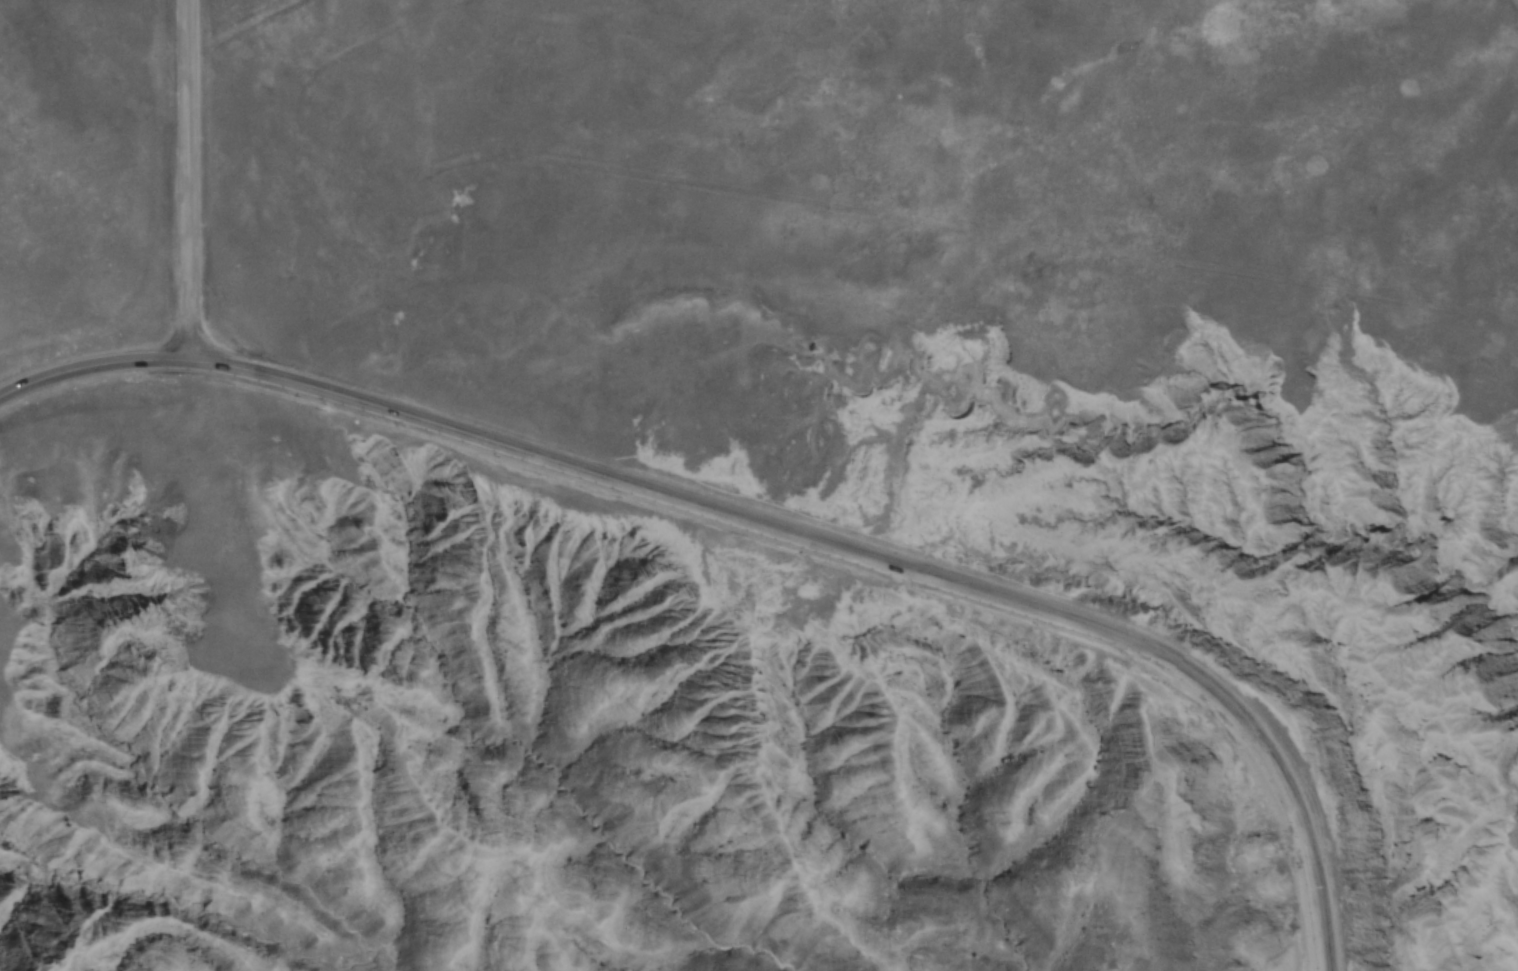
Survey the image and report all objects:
road: (183, 180)
road: (90, 361)
road: (856, 554)
parking lot: (1340, 900)

